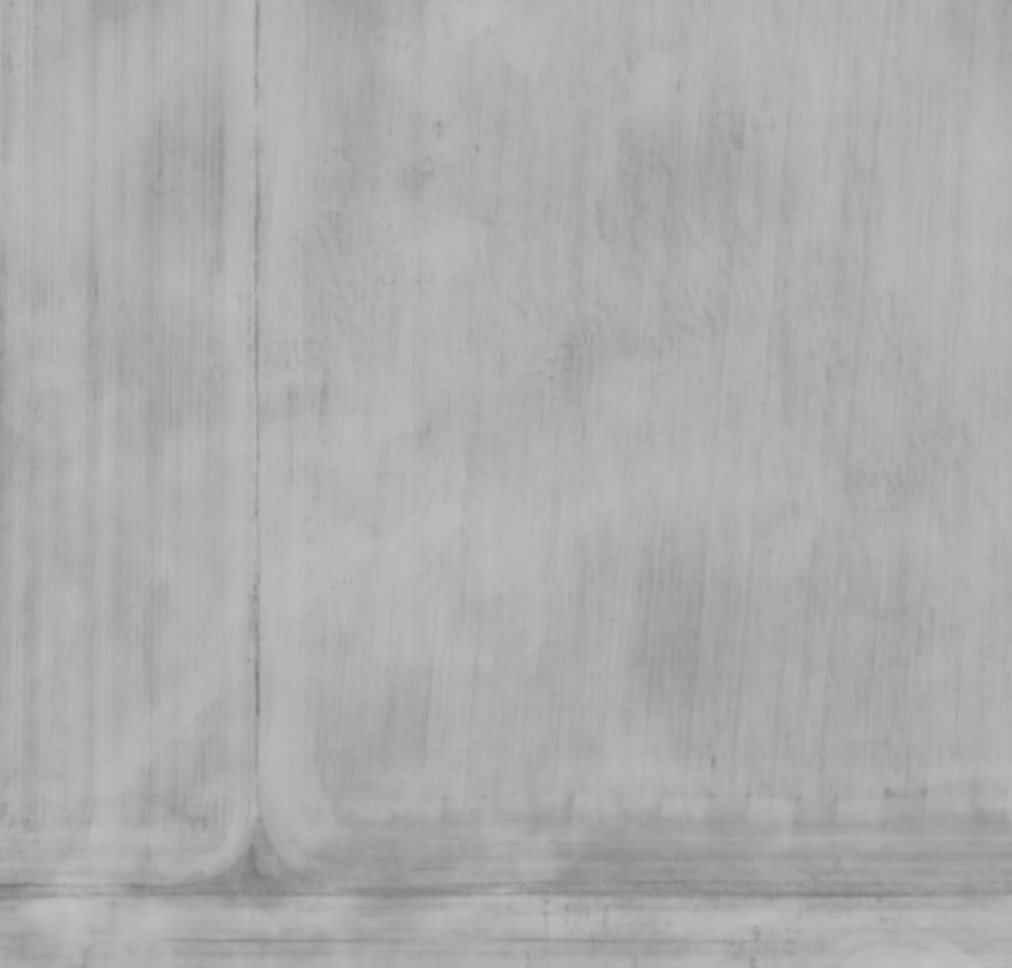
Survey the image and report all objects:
road: (506, 885)

